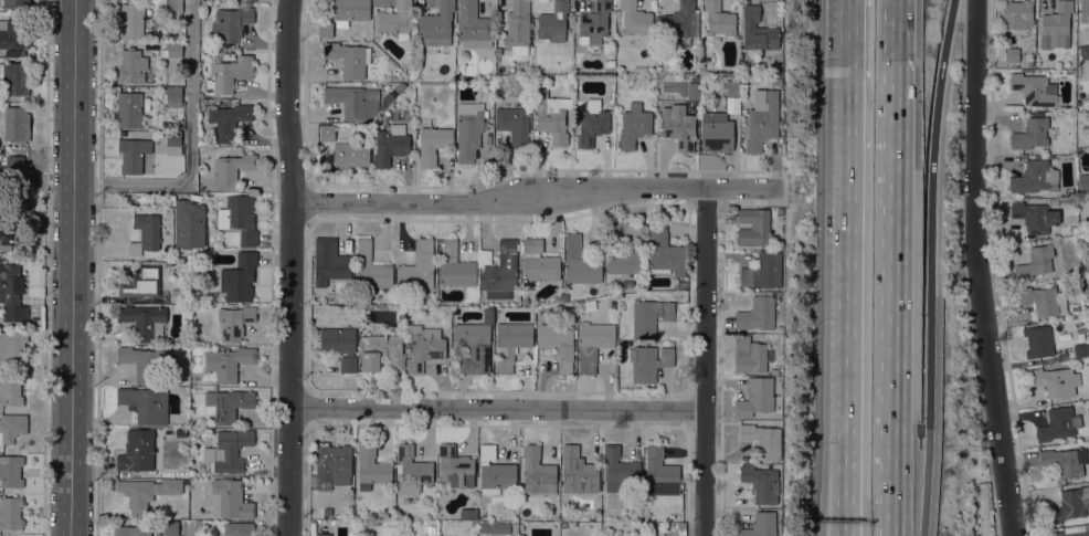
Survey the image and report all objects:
building: (15, 3)
building: (175, 6)
building: (350, 11)
building: (1085, 13)
building: (1015, 14)
building: (635, 19)
building: (131, 20)
building: (395, 20)
building: (552, 20)
building: (719, 20)
building: (230, 23)
building: (593, 23)
building: (678, 23)
building: (435, 24)
building: (473, 25)
building: (1056, 25)
building: (517, 29)
building: (325, 30)
building: (758, 31)
building: (11, 34)
building: (171, 49)
building: (12, 52)
building: (1083, 52)
building: (1011, 54)
building: (347, 59)
building: (1029, 62)
building: (131, 66)
building: (229, 74)
building: (14, 78)
building: (732, 87)
building: (1035, 90)
building: (694, 91)
building: (173, 96)
building: (347, 99)
building: (733, 105)
building: (129, 109)
building: (388, 113)
building: (551, 115)
building: (381, 118)
building: (229, 120)
building: (592, 123)
building: (15, 124)
building: (514, 126)
building: (633, 126)
building: (677, 128)
building: (469, 129)
building: (760, 130)
building: (716, 132)
building: (327, 133)
building: (1029, 134)
building: (173, 143)
building: (433, 144)
building: (390, 145)
road: (190, 150)
building: (133, 154)
building: (350, 155)
building: (15, 169)
building: (232, 169)
building: (1035, 178)
building: (1083, 181)
building: (1068, 191)
road: (538, 197)
building: (780, 212)
building: (1034, 217)
building: (239, 218)
road: (848, 222)
road: (931, 222)
building: (189, 224)
building: (753, 227)
building: (9, 233)
building: (145, 233)
building: (664, 252)
building: (626, 253)
building: (484, 255)
building: (539, 261)
building: (329, 262)
building: (1035, 262)
building: (580, 263)
building: (455, 266)
road: (73, 267)
road: (290, 267)
building: (417, 267)
road: (894, 267)
building: (371, 269)
road: (981, 269)
building: (763, 271)
building: (500, 272)
building: (239, 277)
building: (141, 282)
building: (10, 284)
building: (681, 285)
building: (177, 295)
building: (1044, 301)
building: (758, 313)
building: (649, 316)
building: (145, 322)
building: (234, 322)
building: (1038, 341)
building: (511, 343)
building: (474, 344)
building: (558, 344)
building: (592, 344)
building: (339, 346)
building: (424, 347)
building: (13, 348)
building: (1080, 349)
building: (381, 353)
building: (749, 355)
road: (707, 360)
building: (144, 361)
building: (647, 361)
building: (228, 362)
building: (1055, 380)
building: (10, 388)
building: (755, 397)
building: (145, 403)
building: (226, 404)
road: (497, 408)
building: (1058, 423)
building: (11, 427)
building: (177, 433)
building: (762, 440)
building: (137, 450)
building: (231, 450)
building: (1065, 461)
building: (332, 465)
building: (370, 466)
building: (455, 466)
building: (412, 470)
building: (578, 470)
building: (618, 470)
building: (10, 471)
building: (495, 471)
building: (537, 472)
building: (659, 472)
building: (761, 483)
road: (825, 487)
road: (845, 491)
building: (145, 492)
road: (920, 492)
building: (230, 500)
building: (1068, 505)
building: (327, 511)
building: (10, 513)
building: (761, 525)
building: (495, 526)
building: (170, 528)
road: (186, 529)
building: (239, 529)
building: (431, 529)
building: (131, 530)
building: (1072, 530)
building: (324, 534)

